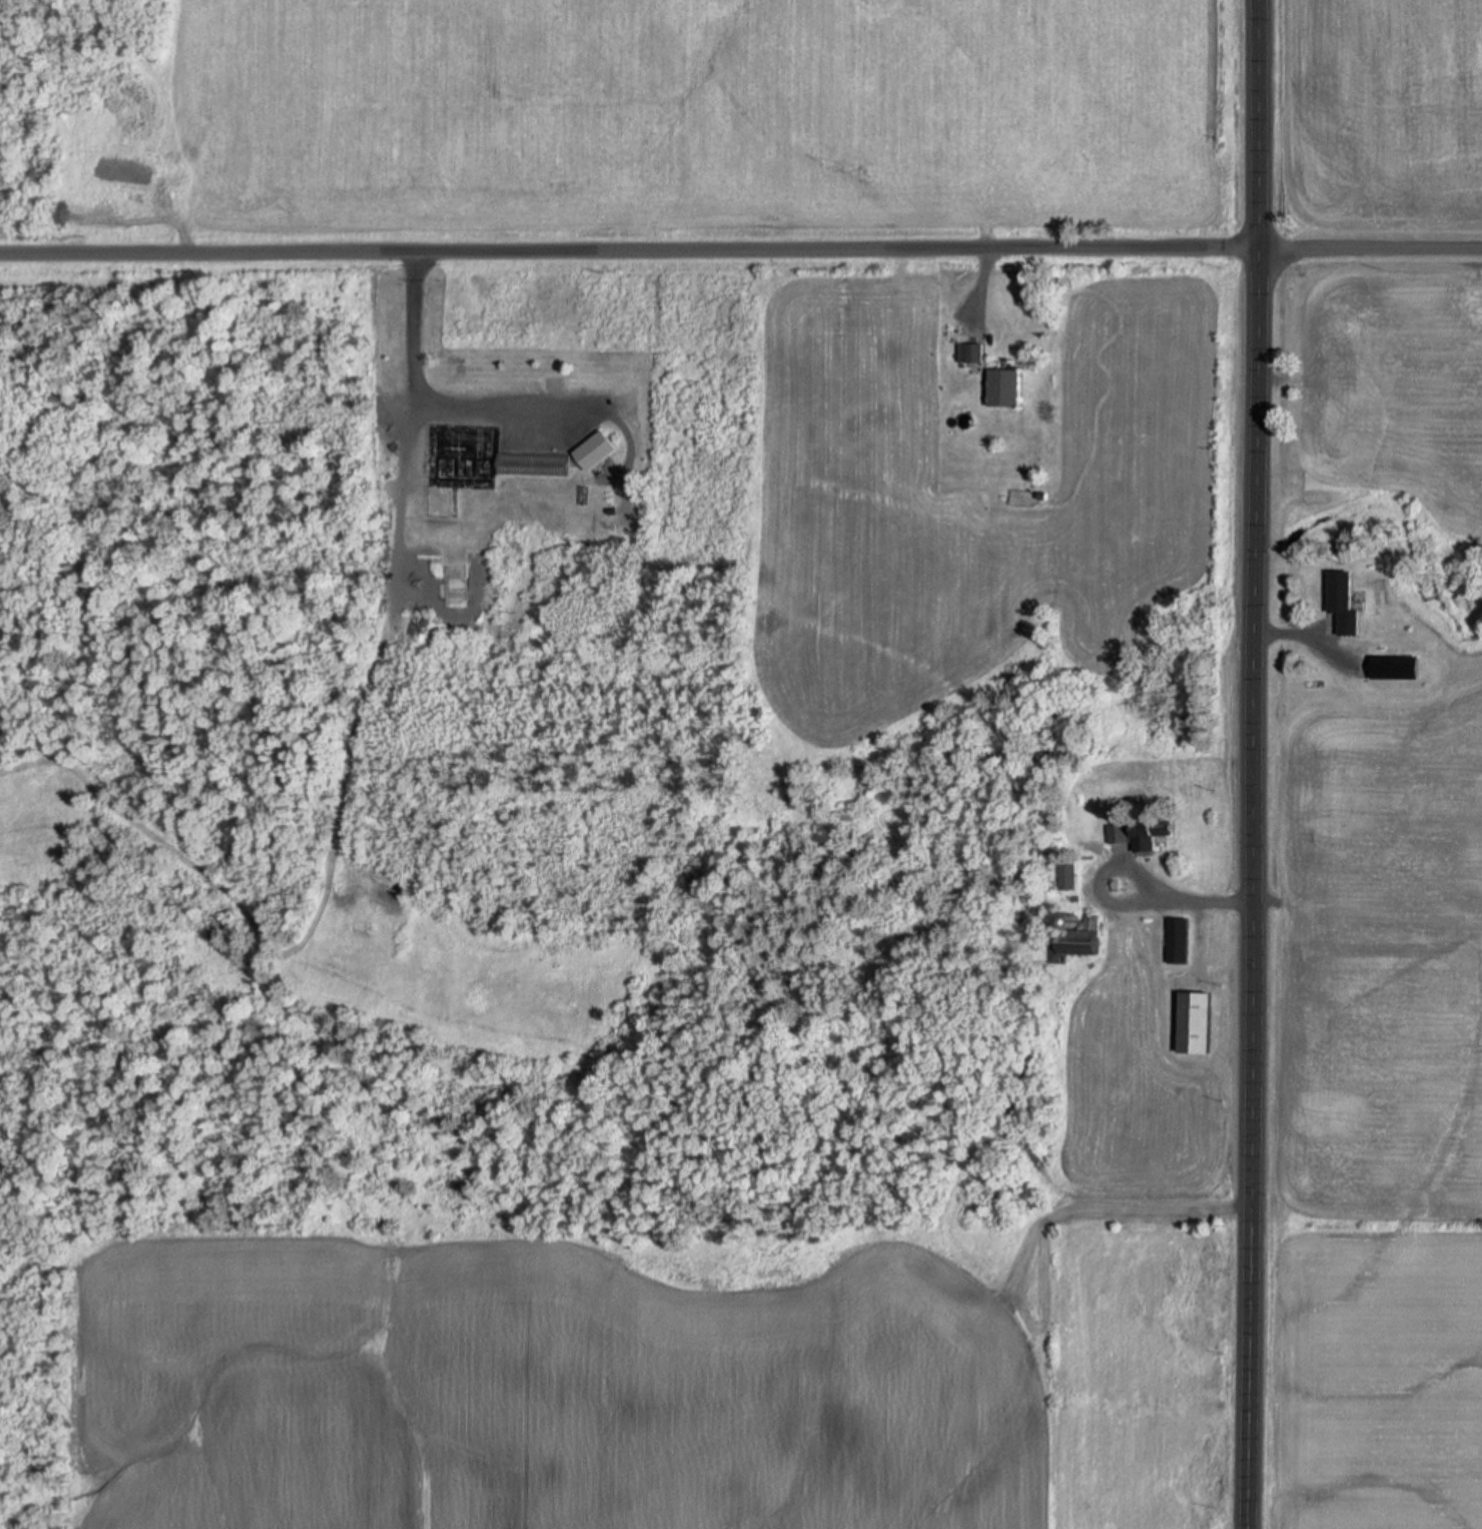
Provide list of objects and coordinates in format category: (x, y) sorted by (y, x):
road: (629, 245)
road: (1370, 248)
building: (975, 351)
building: (1006, 386)
building: (598, 449)
building: (534, 464)
building: (1343, 599)
building: (1389, 669)
road: (1258, 764)
building: (1167, 830)
building: (1131, 836)
building: (1070, 874)
building: (1078, 939)
building: (1180, 940)
building: (1195, 1021)

